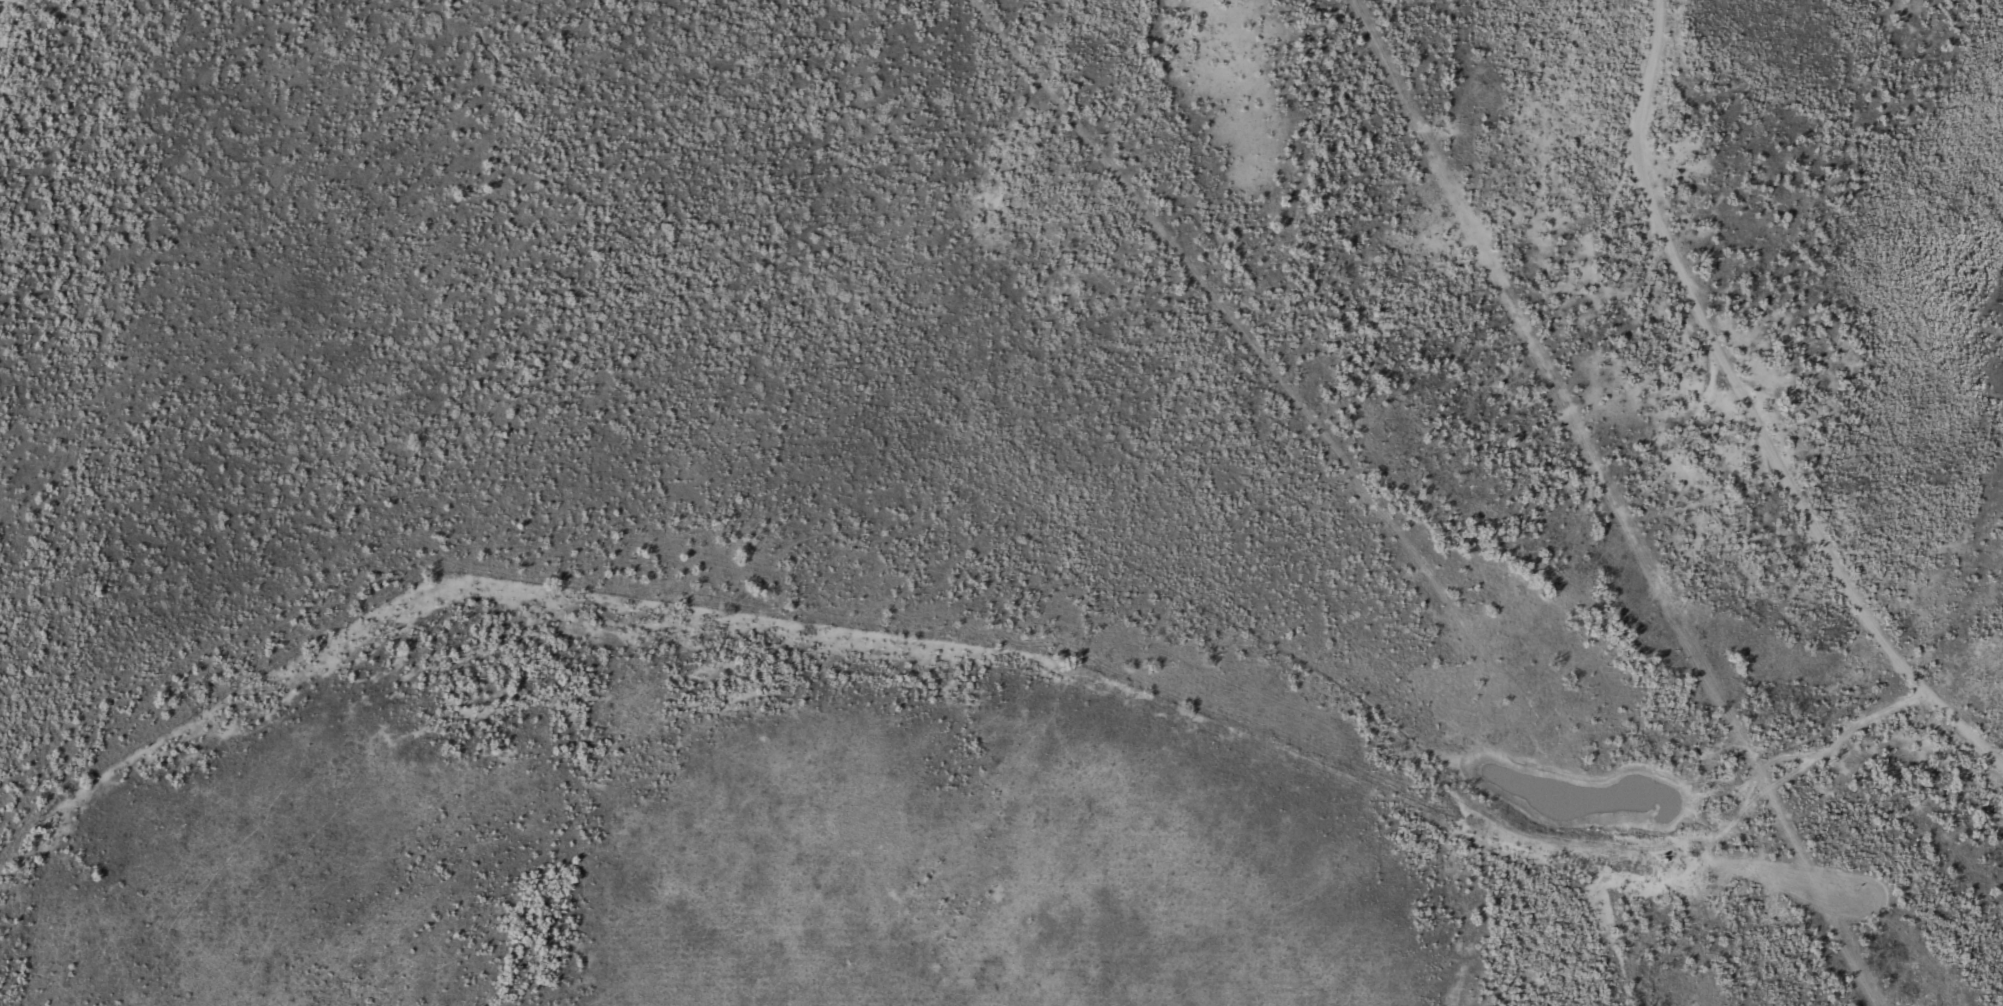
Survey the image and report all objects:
road: (1750, 411)
road: (1773, 775)

